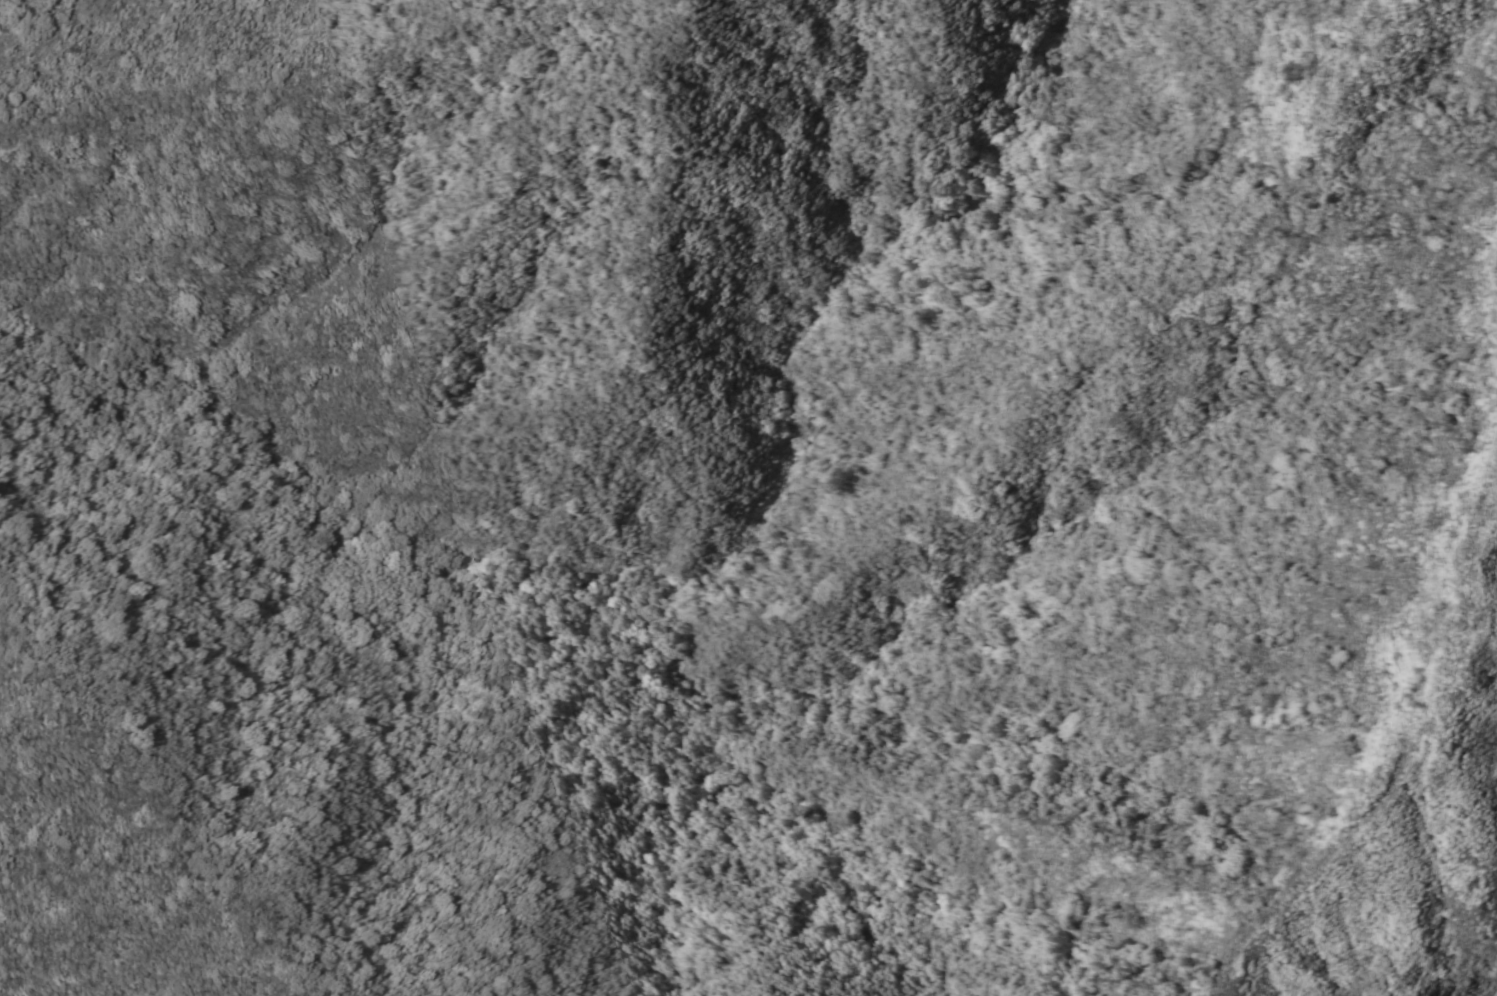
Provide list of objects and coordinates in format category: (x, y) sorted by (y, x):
road: (1387, 775)

